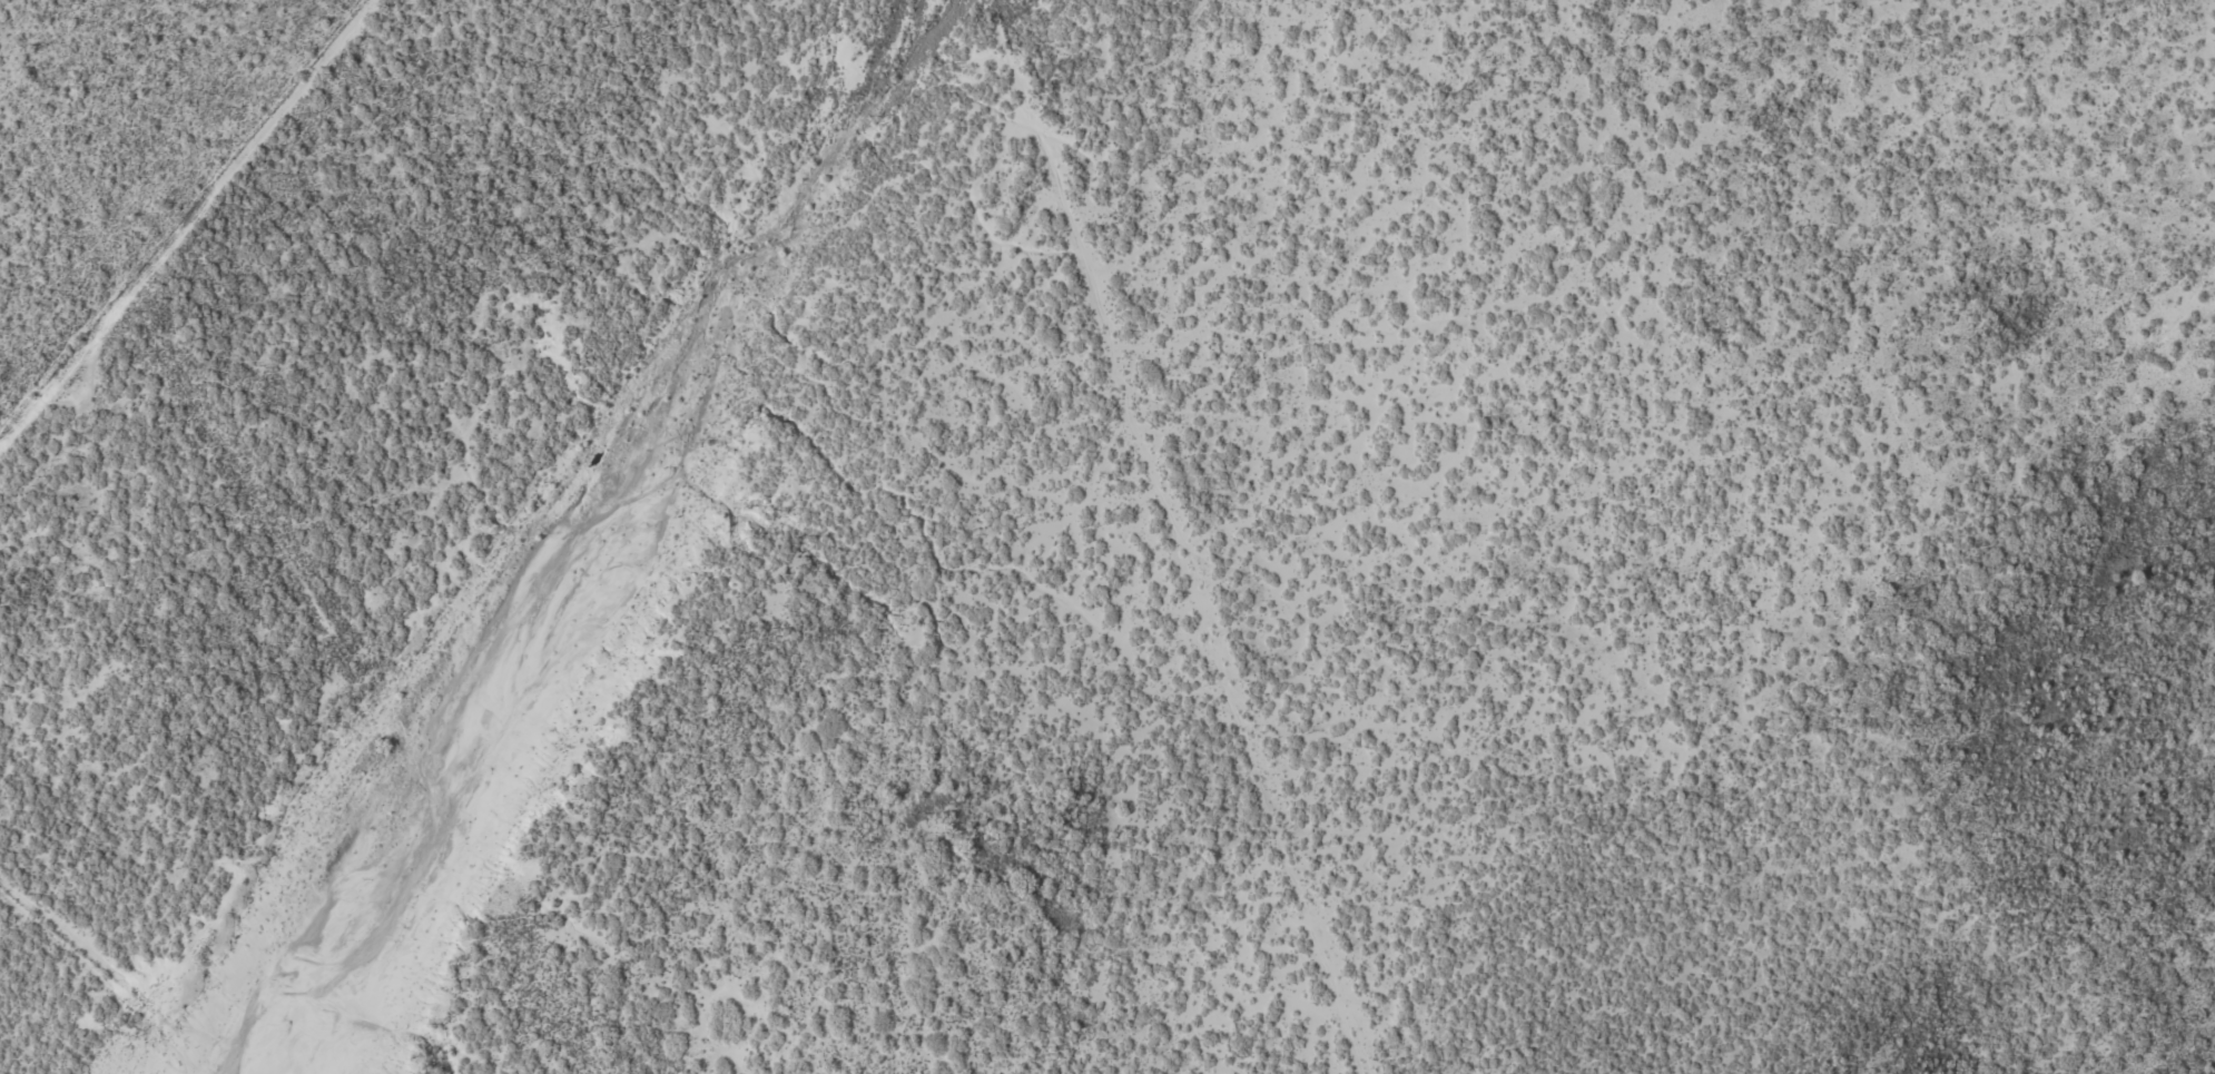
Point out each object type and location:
road: (206, 193)
road: (45, 386)

